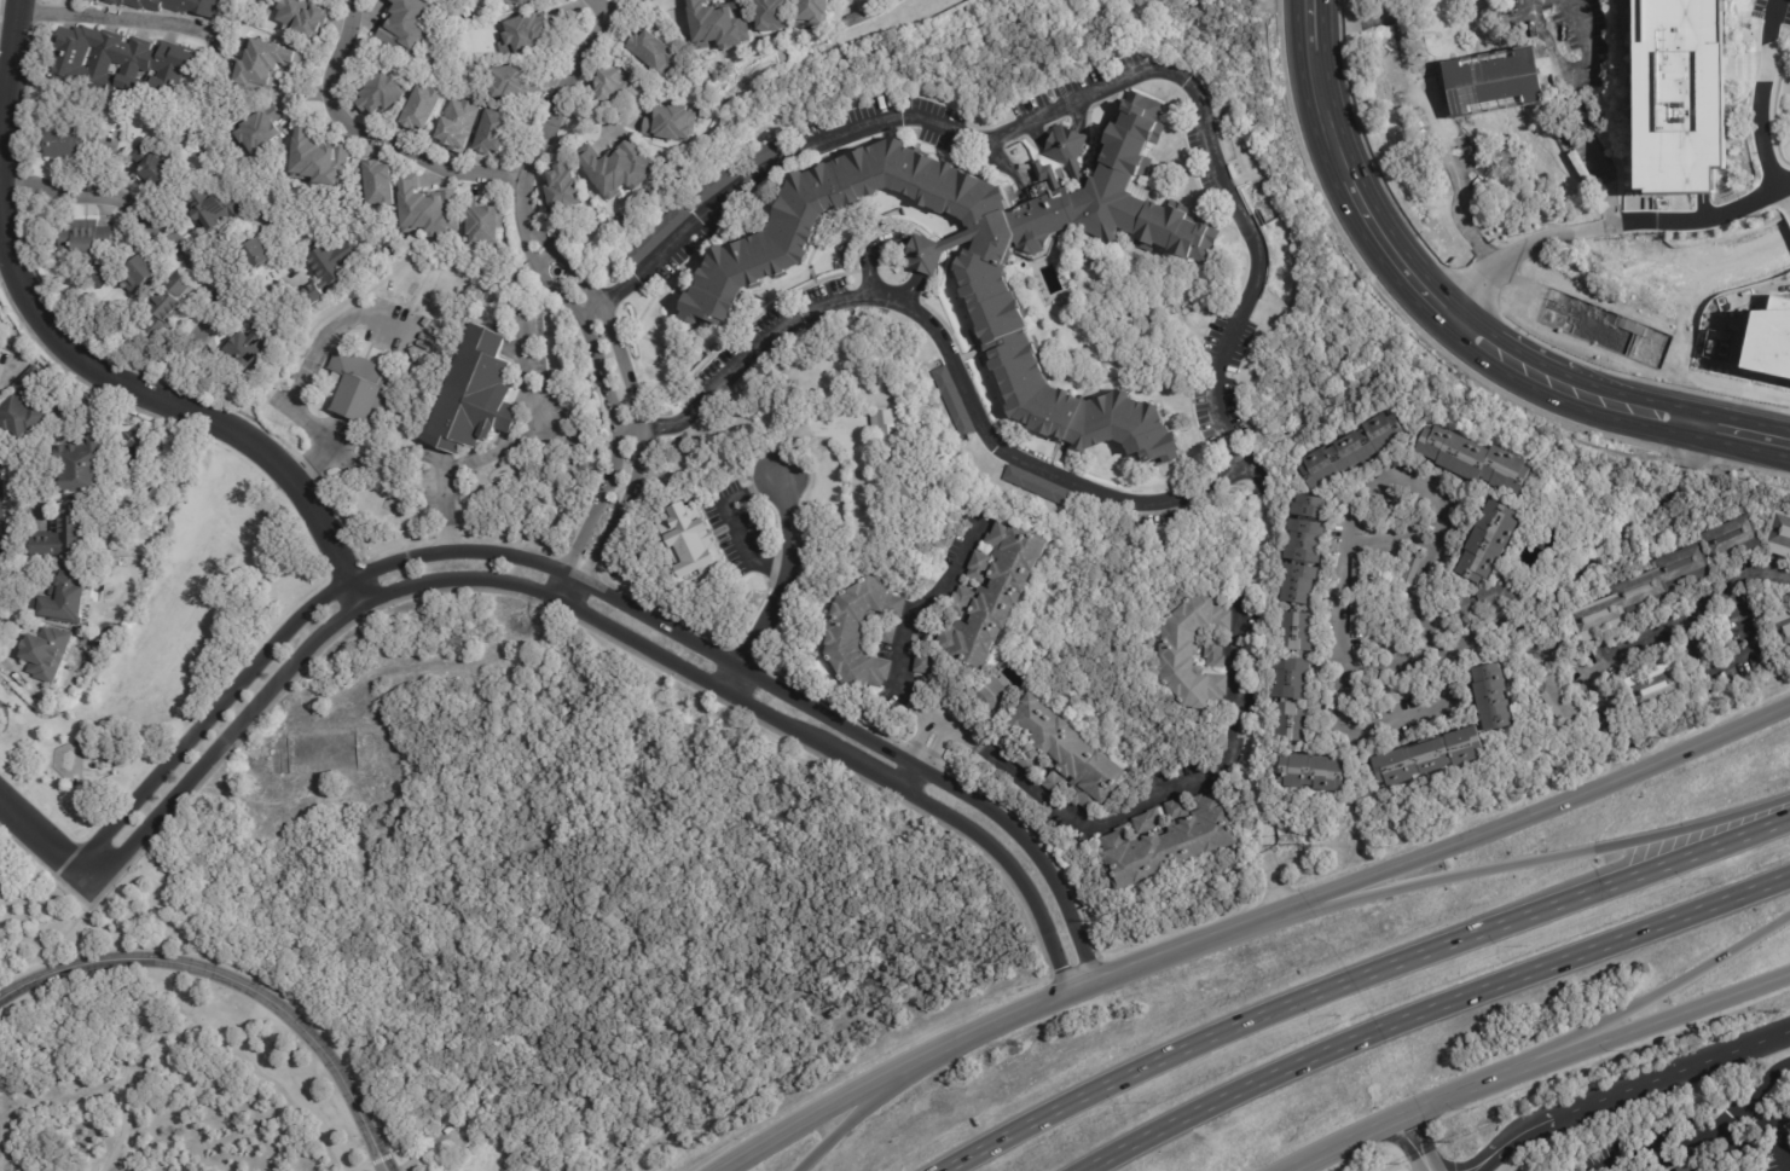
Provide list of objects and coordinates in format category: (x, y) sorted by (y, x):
building: (227, 0)
building: (520, 1)
building: (174, 6)
road: (603, 8)
building: (810, 12)
building: (771, 15)
building: (303, 17)
building: (852, 18)
road: (112, 22)
building: (716, 25)
building: (406, 27)
building: (525, 33)
road: (8, 41)
building: (651, 50)
building: (120, 64)
building: (262, 66)
building: (512, 81)
building: (1489, 82)
building: (620, 85)
road: (1317, 92)
building: (382, 94)
building: (1678, 94)
road: (1760, 97)
road: (1575, 102)
road: (564, 104)
building: (423, 108)
building: (668, 123)
building: (261, 127)
building: (457, 127)
building: (494, 131)
road: (375, 132)
road: (1433, 138)
building: (60, 145)
building: (764, 151)
building: (319, 160)
building: (149, 167)
building: (618, 167)
building: (380, 184)
building: (709, 186)
building: (562, 191)
road: (1786, 196)
road: (1355, 199)
building: (214, 207)
building: (427, 208)
road: (1697, 220)
building: (483, 222)
road: (537, 224)
road: (1588, 231)
building: (653, 236)
building: (85, 237)
road: (170, 238)
road: (898, 239)
building: (255, 255)
building: (989, 259)
road: (1502, 260)
road: (1401, 267)
building: (324, 274)
building: (134, 276)
building: (100, 280)
building: (164, 309)
road: (1242, 312)
road: (595, 317)
building: (1774, 342)
building: (247, 346)
road: (1499, 355)
road: (301, 365)
road: (625, 370)
road: (599, 377)
road: (147, 389)
building: (360, 390)
building: (474, 395)
building: (30, 402)
building: (954, 402)
road: (1624, 407)
road: (630, 429)
road: (1739, 433)
building: (132, 439)
road: (497, 450)
building: (1350, 450)
building: (898, 458)
building: (1476, 460)
building: (91, 468)
road: (1412, 483)
building: (1048, 491)
road: (592, 514)
road: (616, 520)
road: (729, 520)
building: (70, 533)
building: (1778, 535)
building: (687, 537)
building: (1730, 541)
building: (1485, 543)
road: (1597, 551)
building: (1410, 569)
building: (1357, 574)
road: (781, 589)
road: (596, 591)
building: (1639, 595)
building: (990, 597)
building: (66, 602)
building: (1482, 602)
road: (580, 609)
road: (915, 616)
building: (1297, 616)
building: (1357, 618)
building: (1782, 630)
building: (858, 633)
road: (1626, 638)
park: (167, 644)
building: (47, 653)
building: (1195, 653)
road: (1734, 657)
building: (921, 663)
road: (1344, 671)
building: (1655, 688)
building: (1493, 697)
building: (989, 698)
road: (1439, 703)
building: (1552, 707)
road: (915, 737)
road: (934, 749)
building: (1058, 756)
building: (1426, 760)
building: (1310, 775)
road: (910, 778)
road: (1152, 801)
road: (1530, 813)
road: (37, 833)
building: (1165, 841)
road: (1530, 862)
road: (44, 866)
road: (48, 953)
road: (37, 973)
road: (1360, 976)
road: (236, 981)
road: (1679, 982)
road: (1432, 1010)
road: (1679, 1010)
road: (989, 1028)
road: (1556, 1073)
road: (1496, 1078)
road: (1623, 1091)
building: (453, 1121)
road: (848, 1121)
road: (1769, 1130)
road: (1698, 1131)
road: (1359, 1138)
road: (1419, 1138)
road: (1403, 1143)
road: (1727, 1147)
building: (1688, 1167)

